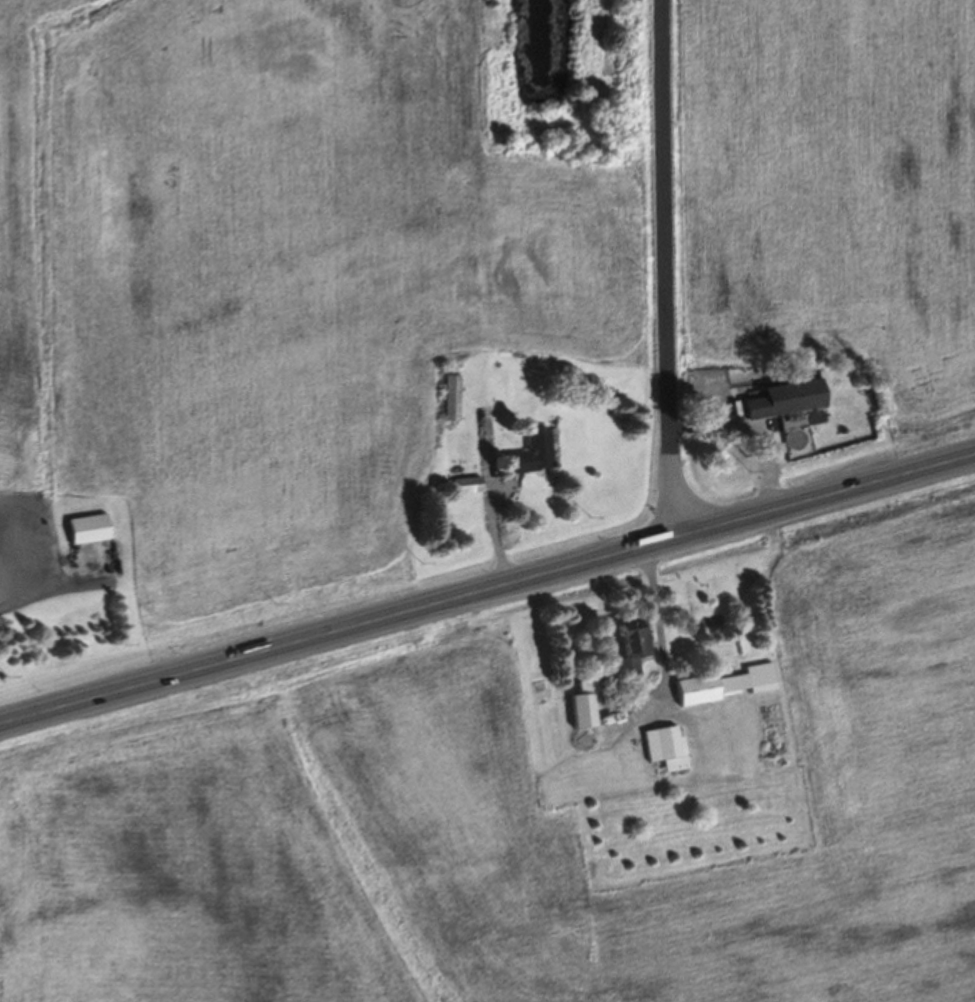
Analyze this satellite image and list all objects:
road: (666, 268)
building: (446, 401)
building: (780, 402)
building: (527, 457)
building: (87, 533)
road: (32, 549)
building: (21, 564)
road: (487, 589)
building: (627, 649)
building: (723, 688)
building: (582, 710)
building: (663, 751)

